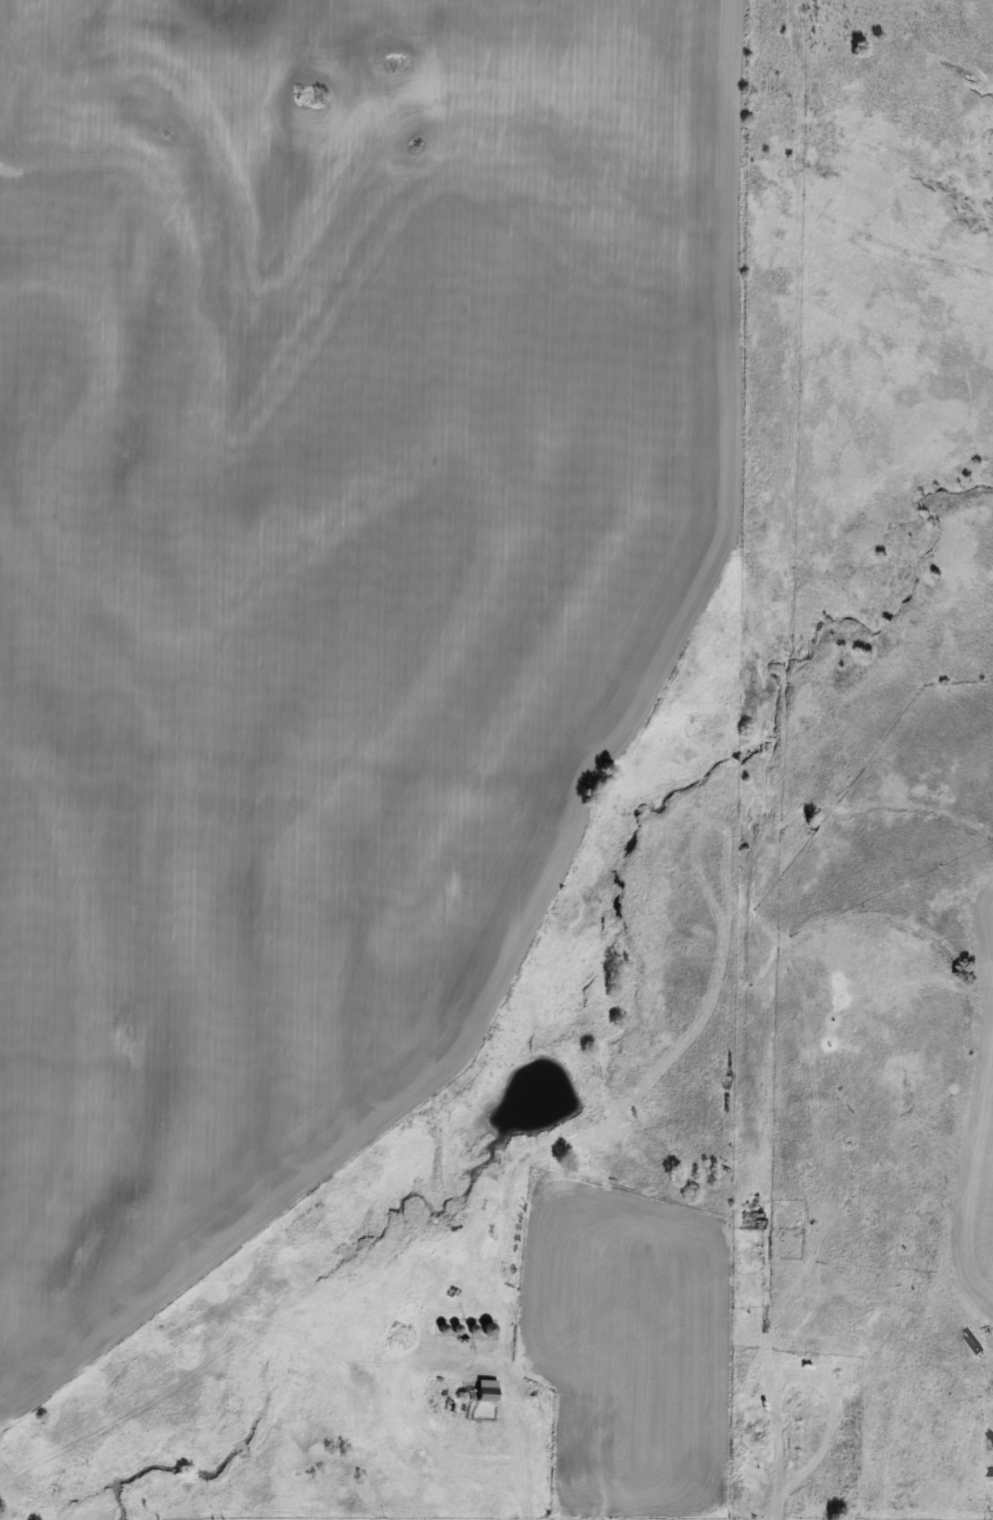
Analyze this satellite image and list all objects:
building: (750, 1222)
building: (484, 1330)
building: (484, 1391)
building: (576, 1465)

